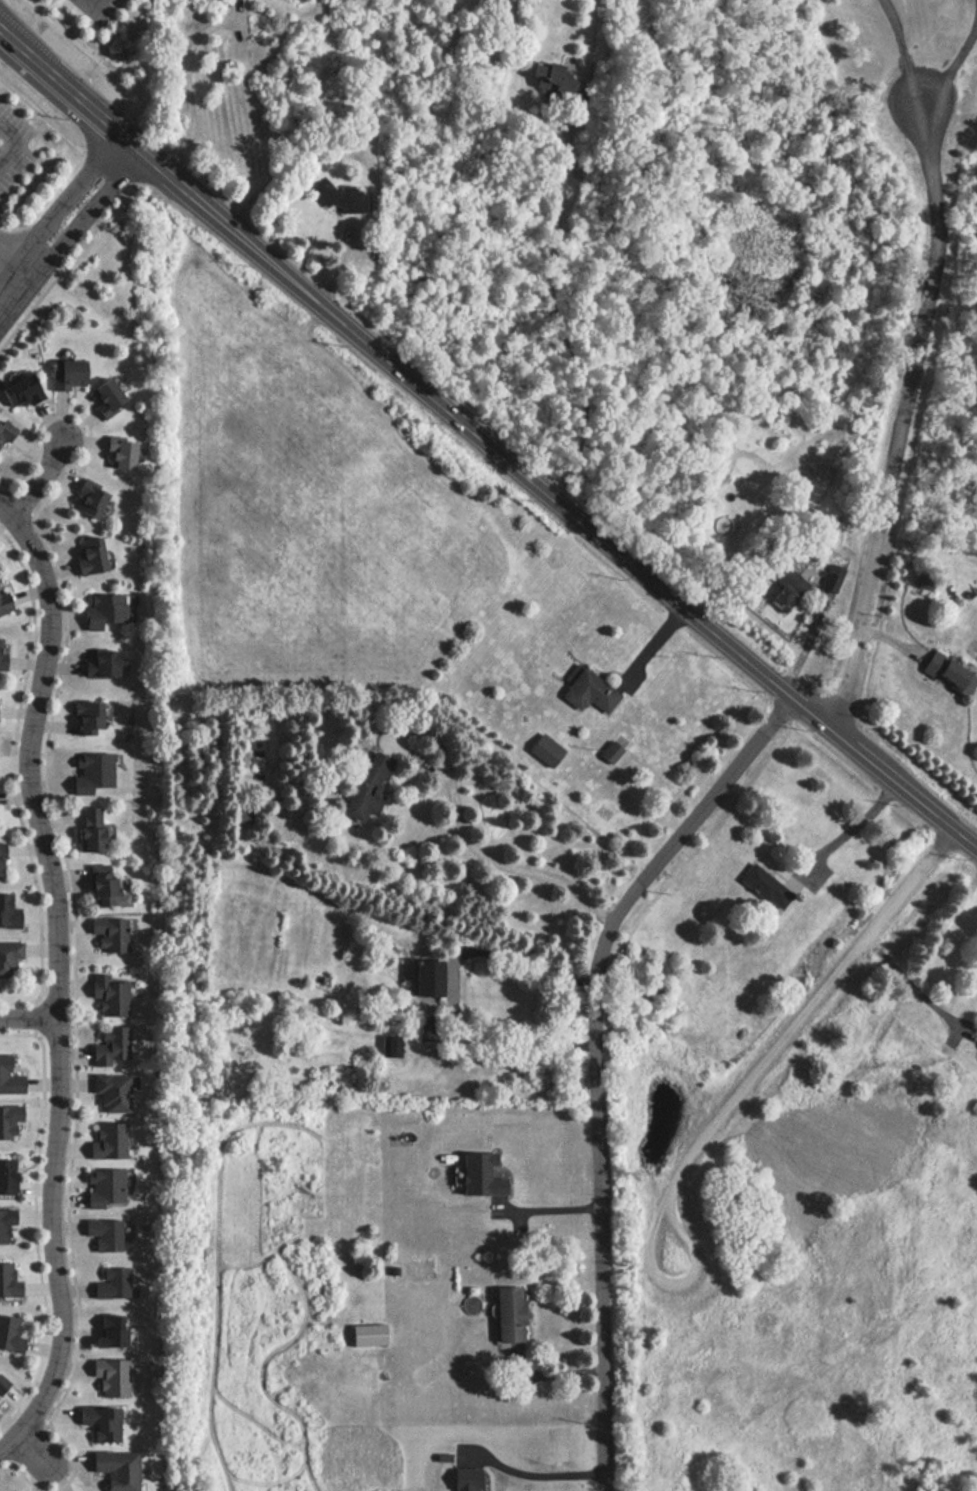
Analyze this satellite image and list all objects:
road: (80, 0)
parking lot: (102, 7)
road: (90, 10)
building: (99, 10)
road: (80, 48)
road: (902, 49)
road: (950, 62)
road: (56, 131)
road: (15, 144)
parking lot: (12, 147)
road: (129, 148)
road: (67, 193)
building: (335, 197)
road: (88, 211)
road: (12, 260)
road: (16, 281)
road: (553, 312)
building: (65, 374)
building: (18, 391)
building: (103, 397)
road: (903, 417)
building: (6, 434)
building: (117, 455)
road: (36, 479)
crop: (303, 484)
building: (86, 499)
road: (618, 554)
building: (87, 555)
building: (831, 573)
building: (782, 587)
building: (4, 599)
building: (103, 610)
building: (1, 653)
building: (104, 664)
building: (946, 674)
building: (587, 692)
building: (84, 717)
building: (544, 750)
building: (611, 752)
building: (365, 786)
building: (87, 829)
building: (0, 854)
road: (483, 856)
building: (98, 886)
building: (765, 888)
building: (7, 912)
building: (107, 934)
building: (9, 960)
building: (422, 978)
road: (453, 982)
road: (56, 986)
road: (914, 989)
building: (110, 995)
road: (28, 1018)
road: (786, 1034)
building: (110, 1046)
building: (387, 1047)
road: (599, 1062)
building: (111, 1092)
building: (815, 1127)
road: (546, 1211)
building: (5, 1222)
building: (101, 1234)
building: (7, 1280)
building: (110, 1283)
building: (506, 1314)
building: (370, 1332)
building: (9, 1334)
building: (100, 1422)
building: (114, 1469)
road: (536, 1488)

